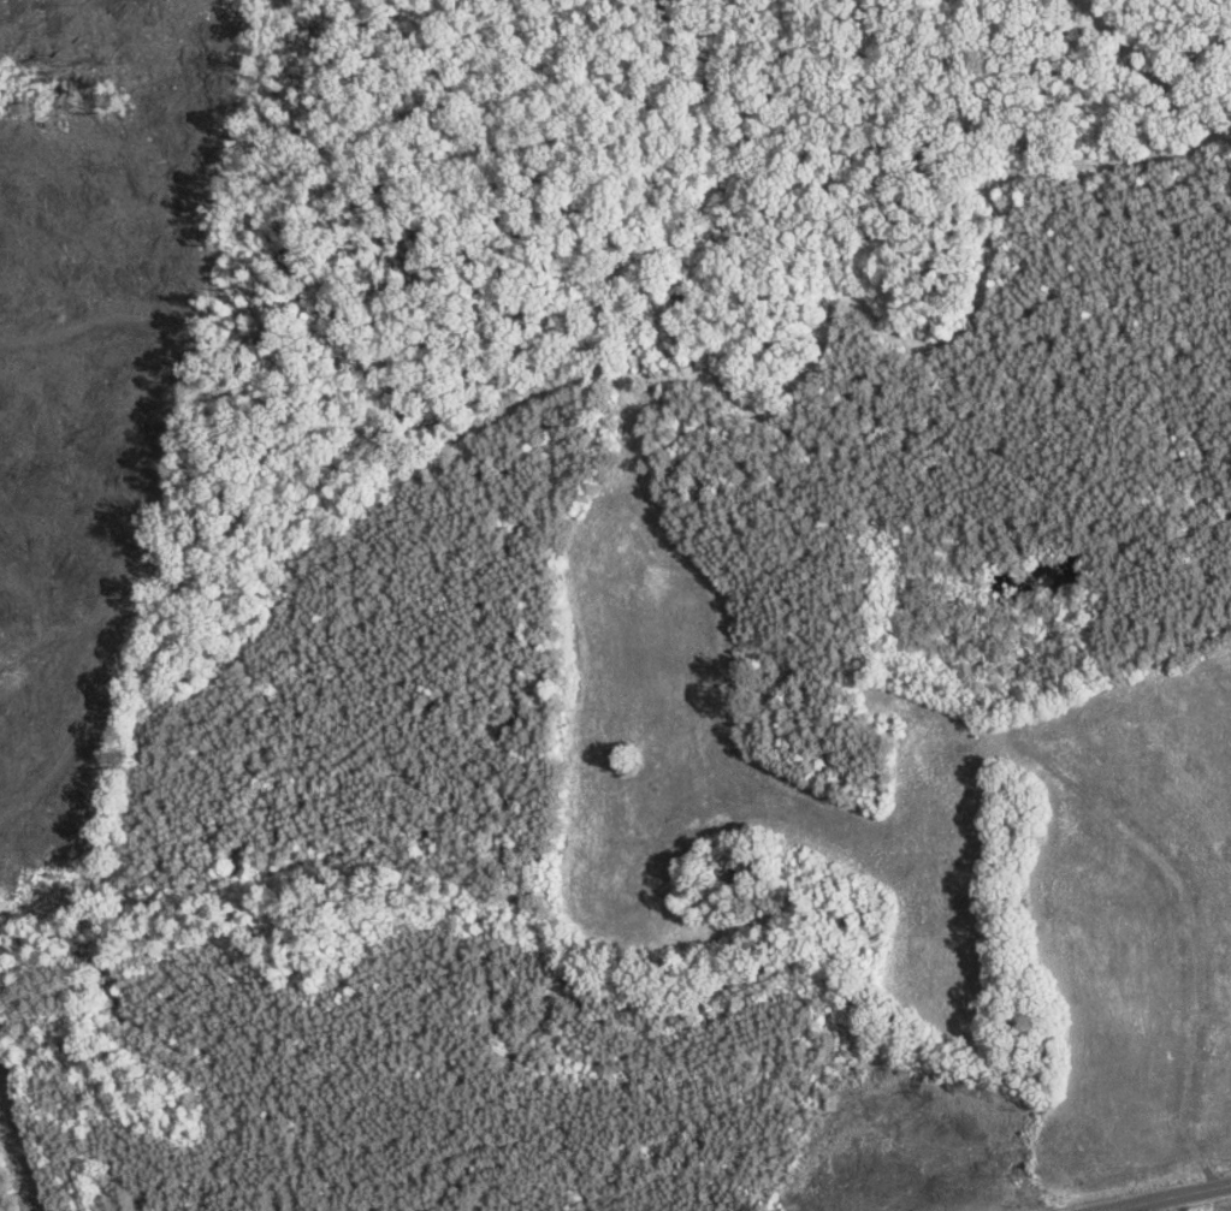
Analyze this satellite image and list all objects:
road: (1, 963)
road: (1179, 1200)

